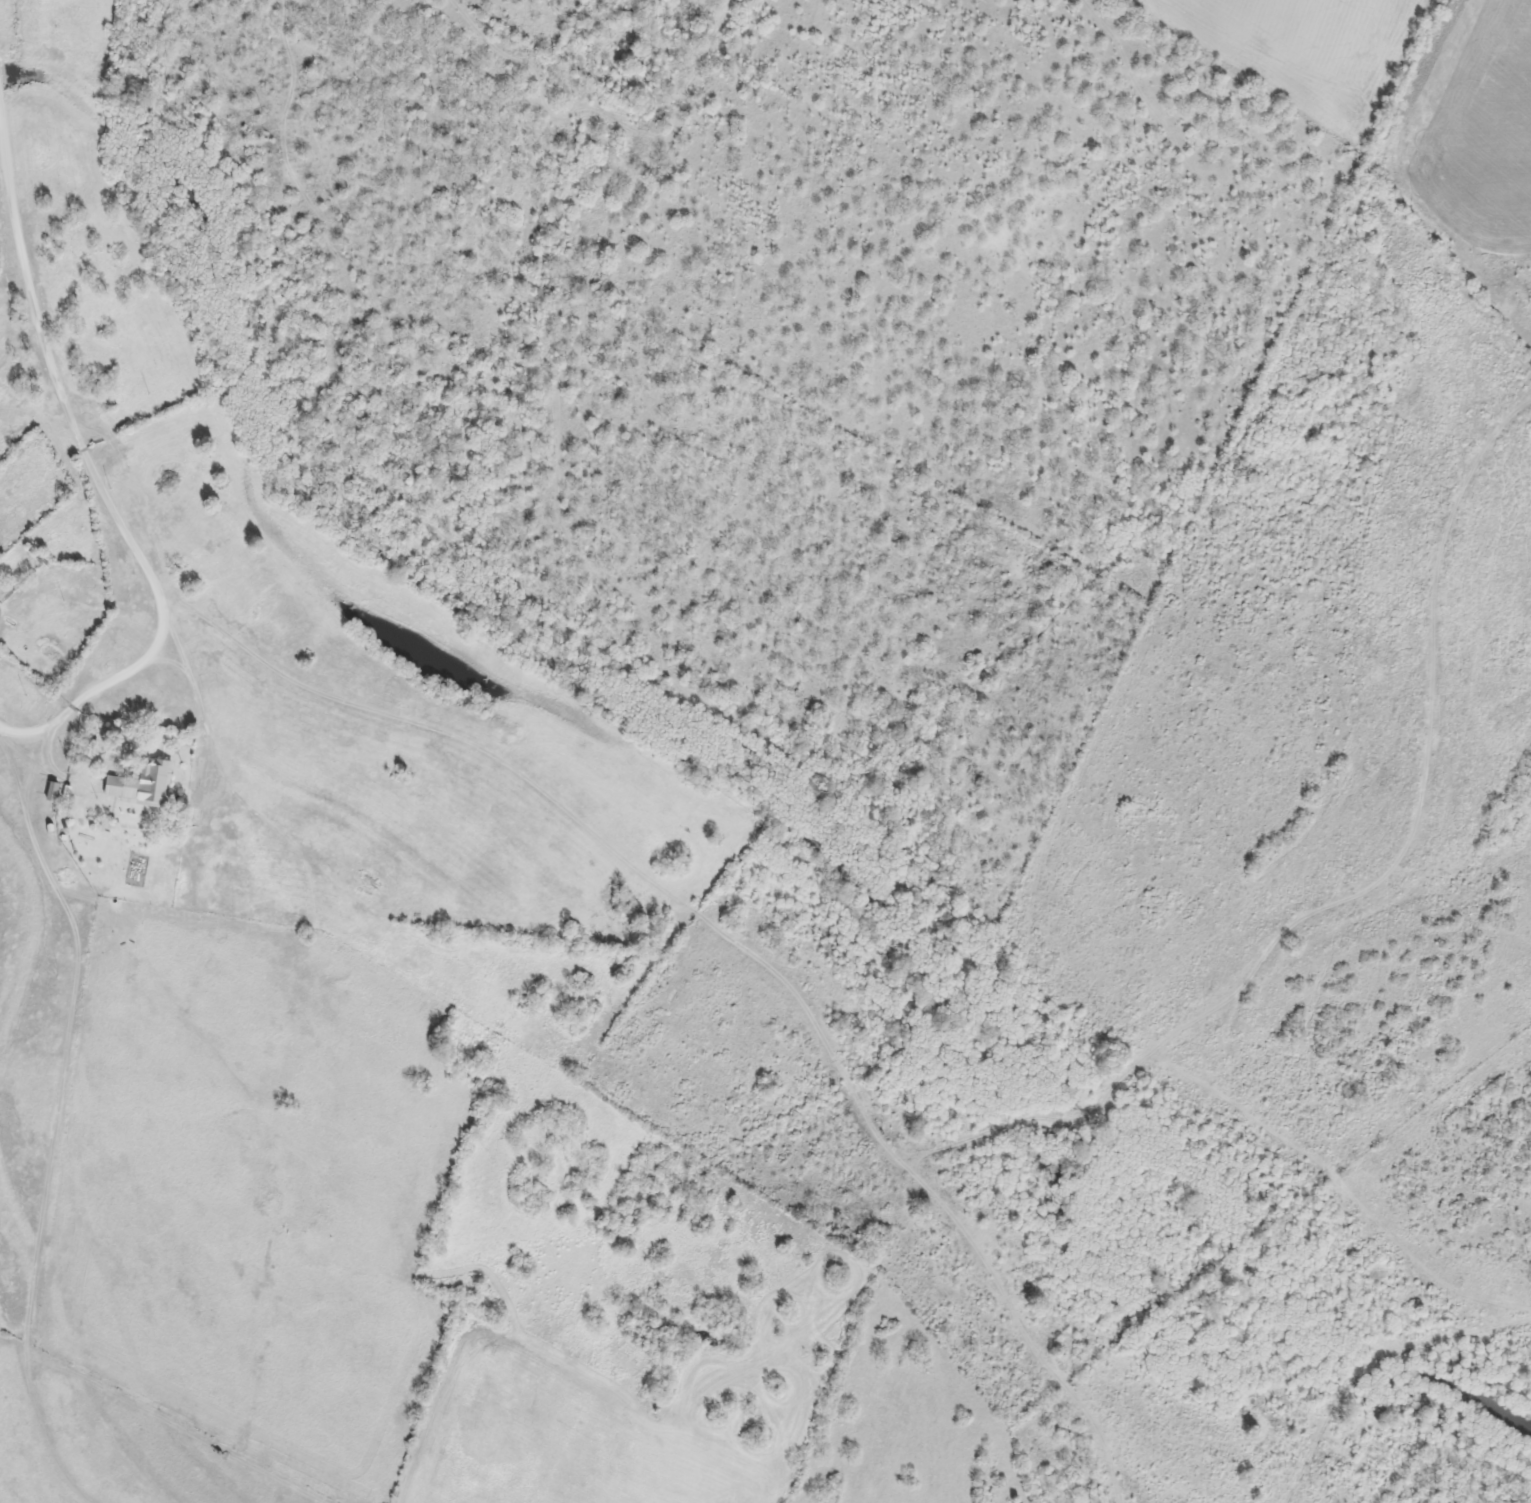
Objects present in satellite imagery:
road: (27, 289)
road: (166, 620)
road: (1426, 764)
building: (136, 785)
road: (735, 942)
road: (1235, 1076)

